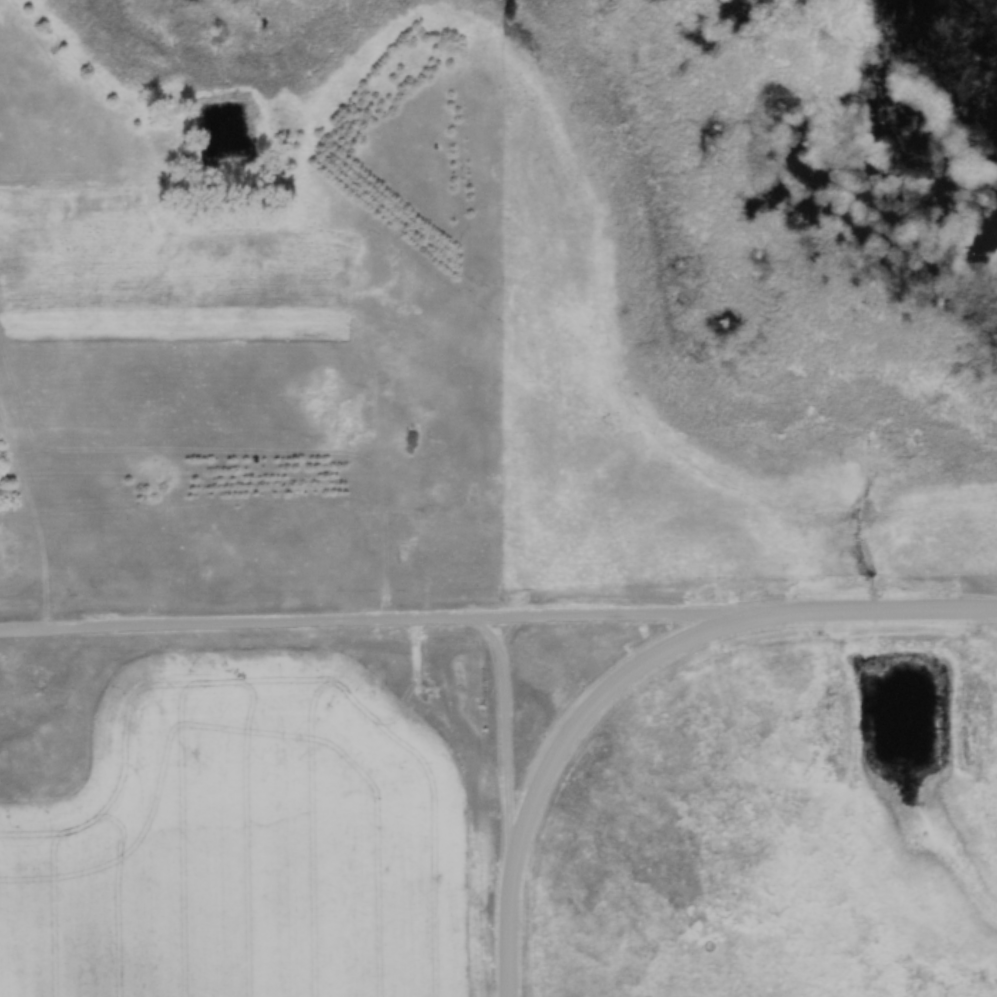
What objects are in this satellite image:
road: (881, 612)
road: (382, 621)
road: (604, 692)
road: (511, 726)
road: (509, 922)

